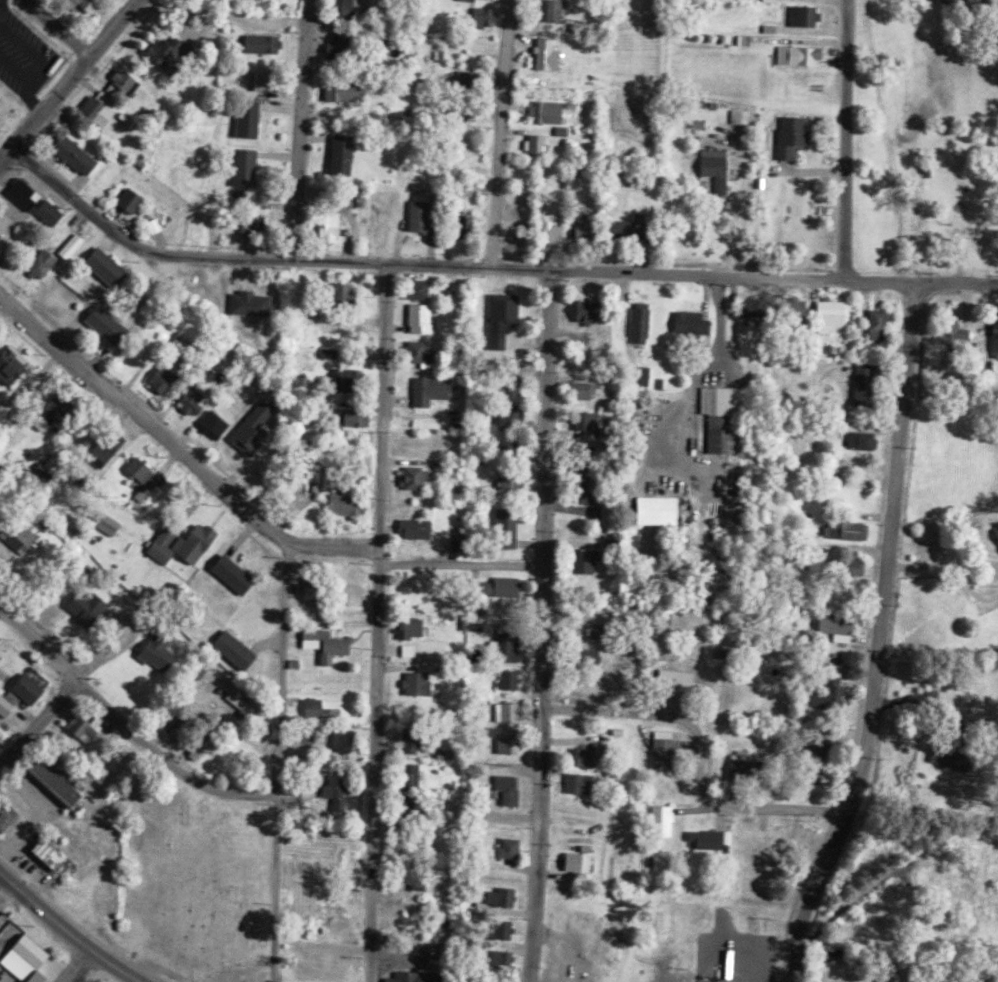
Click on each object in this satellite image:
building: (473, 0)
building: (777, 0)
building: (964, 0)
building: (997, 0)
building: (97, 3)
building: (364, 8)
building: (560, 10)
building: (811, 14)
building: (493, 15)
road: (220, 16)
road: (58, 27)
building: (270, 42)
building: (177, 52)
building: (555, 54)
building: (807, 54)
building: (473, 77)
road: (68, 79)
building: (276, 80)
building: (132, 81)
building: (351, 90)
building: (109, 107)
building: (555, 111)
building: (747, 116)
building: (257, 121)
road: (299, 129)
building: (567, 130)
road: (497, 132)
building: (800, 135)
road: (843, 138)
building: (544, 143)
building: (349, 153)
building: (83, 155)
building: (253, 166)
building: (723, 168)
road: (811, 170)
road: (742, 194)
building: (138, 199)
building: (57, 212)
building: (427, 216)
building: (592, 225)
building: (8, 226)
building: (337, 226)
building: (639, 227)
building: (560, 232)
building: (79, 245)
road: (644, 256)
building: (50, 262)
road: (487, 265)
building: (116, 267)
building: (352, 291)
building: (256, 303)
building: (748, 304)
building: (582, 307)
building: (597, 308)
building: (824, 311)
building: (790, 312)
building: (839, 313)
building: (510, 316)
building: (427, 318)
building: (634, 319)
building: (685, 319)
building: (648, 320)
building: (873, 321)
building: (115, 324)
building: (883, 324)
building: (950, 332)
building: (970, 334)
building: (993, 334)
building: (422, 347)
building: (17, 365)
building: (631, 371)
building: (651, 375)
building: (171, 377)
building: (361, 378)
building: (518, 381)
building: (860, 381)
building: (873, 382)
building: (578, 388)
building: (437, 390)
building: (63, 411)
building: (719, 411)
building: (517, 412)
building: (211, 413)
building: (362, 416)
building: (582, 418)
building: (265, 426)
building: (857, 438)
building: (112, 449)
road: (176, 451)
building: (580, 452)
building: (147, 468)
building: (421, 477)
building: (575, 486)
building: (354, 504)
building: (608, 506)
building: (652, 507)
building: (513, 518)
building: (114, 522)
building: (423, 527)
building: (839, 527)
building: (993, 533)
building: (28, 537)
building: (203, 542)
building: (170, 545)
building: (580, 556)
building: (595, 560)
road: (460, 564)
building: (845, 564)
building: (241, 574)
building: (498, 583)
building: (310, 585)
building: (319, 587)
building: (341, 588)
building: (359, 594)
building: (91, 605)
road: (376, 621)
building: (403, 623)
building: (483, 623)
building: (834, 623)
road: (544, 625)
building: (418, 628)
road: (878, 637)
building: (320, 640)
building: (501, 640)
building: (607, 640)
building: (514, 642)
building: (243, 650)
building: (415, 650)
building: (167, 652)
road: (280, 670)
building: (504, 677)
building: (412, 680)
building: (514, 680)
building: (683, 680)
building: (425, 683)
building: (822, 686)
building: (25, 694)
building: (309, 704)
building: (321, 707)
building: (502, 709)
building: (514, 712)
building: (263, 715)
road: (37, 722)
building: (92, 726)
road: (126, 728)
building: (301, 734)
building: (337, 736)
building: (408, 736)
building: (349, 738)
building: (418, 738)
building: (504, 741)
road: (6, 746)
building: (658, 747)
building: (581, 752)
building: (453, 754)
building: (594, 755)
road: (699, 757)
building: (807, 757)
building: (958, 758)
building: (740, 764)
building: (476, 771)
building: (405, 773)
building: (418, 774)
building: (573, 780)
building: (61, 781)
building: (589, 783)
building: (343, 785)
building: (502, 787)
building: (515, 788)
building: (331, 789)
building: (476, 792)
building: (403, 806)
building: (669, 816)
building: (657, 818)
building: (12, 820)
building: (705, 836)
building: (504, 846)
building: (517, 848)
building: (55, 852)
building: (583, 861)
building: (405, 869)
building: (425, 880)
road: (274, 891)
building: (496, 894)
building: (509, 896)
building: (497, 927)
building: (510, 929)
road: (68, 931)
building: (22, 956)
building: (496, 956)
building: (508, 956)
road: (83, 966)
building: (408, 975)
building: (96, 981)
building: (107, 981)

